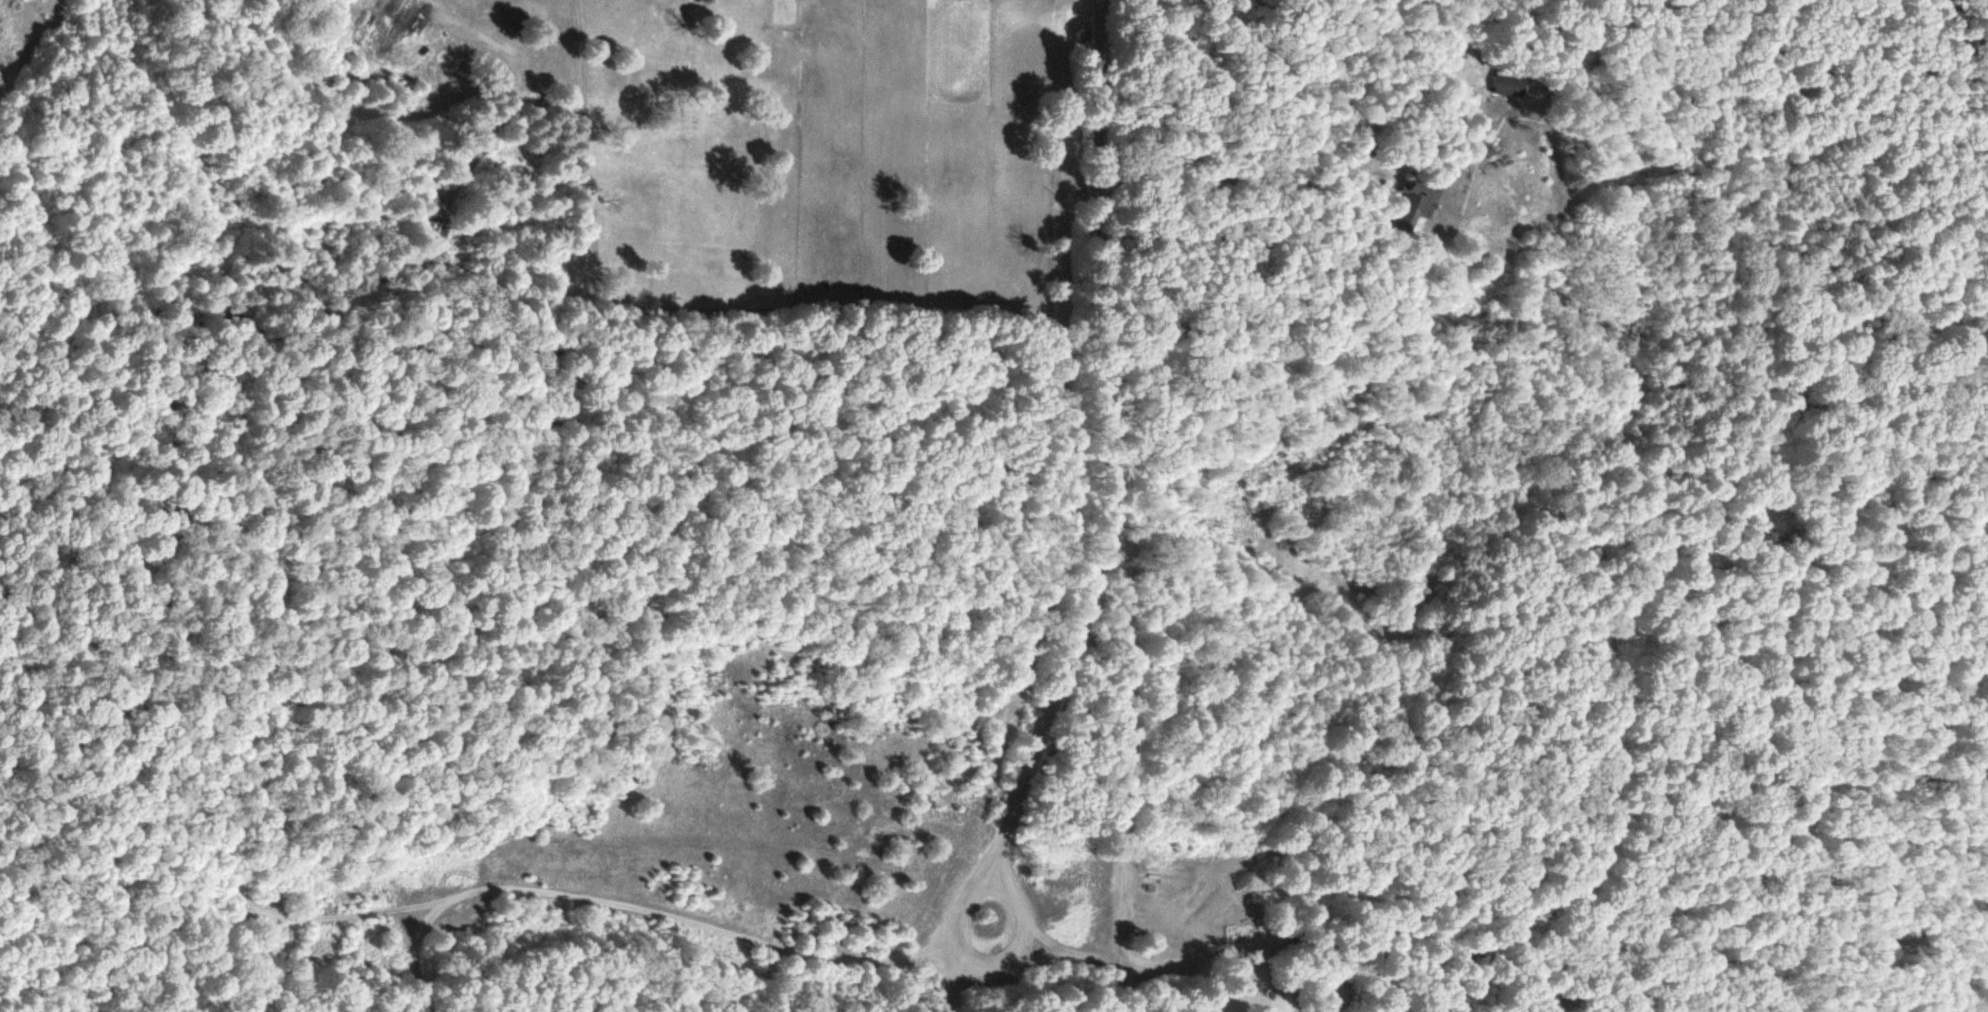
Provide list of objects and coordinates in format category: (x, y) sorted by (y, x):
building: (1504, 83)
road: (1318, 187)
road: (1376, 195)
building: (1412, 204)
road: (1105, 523)
road: (245, 894)
road: (570, 896)
road: (1049, 938)
road: (1023, 941)
road: (421, 950)
road: (1047, 957)
road: (1177, 961)
road: (1267, 979)
road: (971, 980)
road: (1129, 986)

